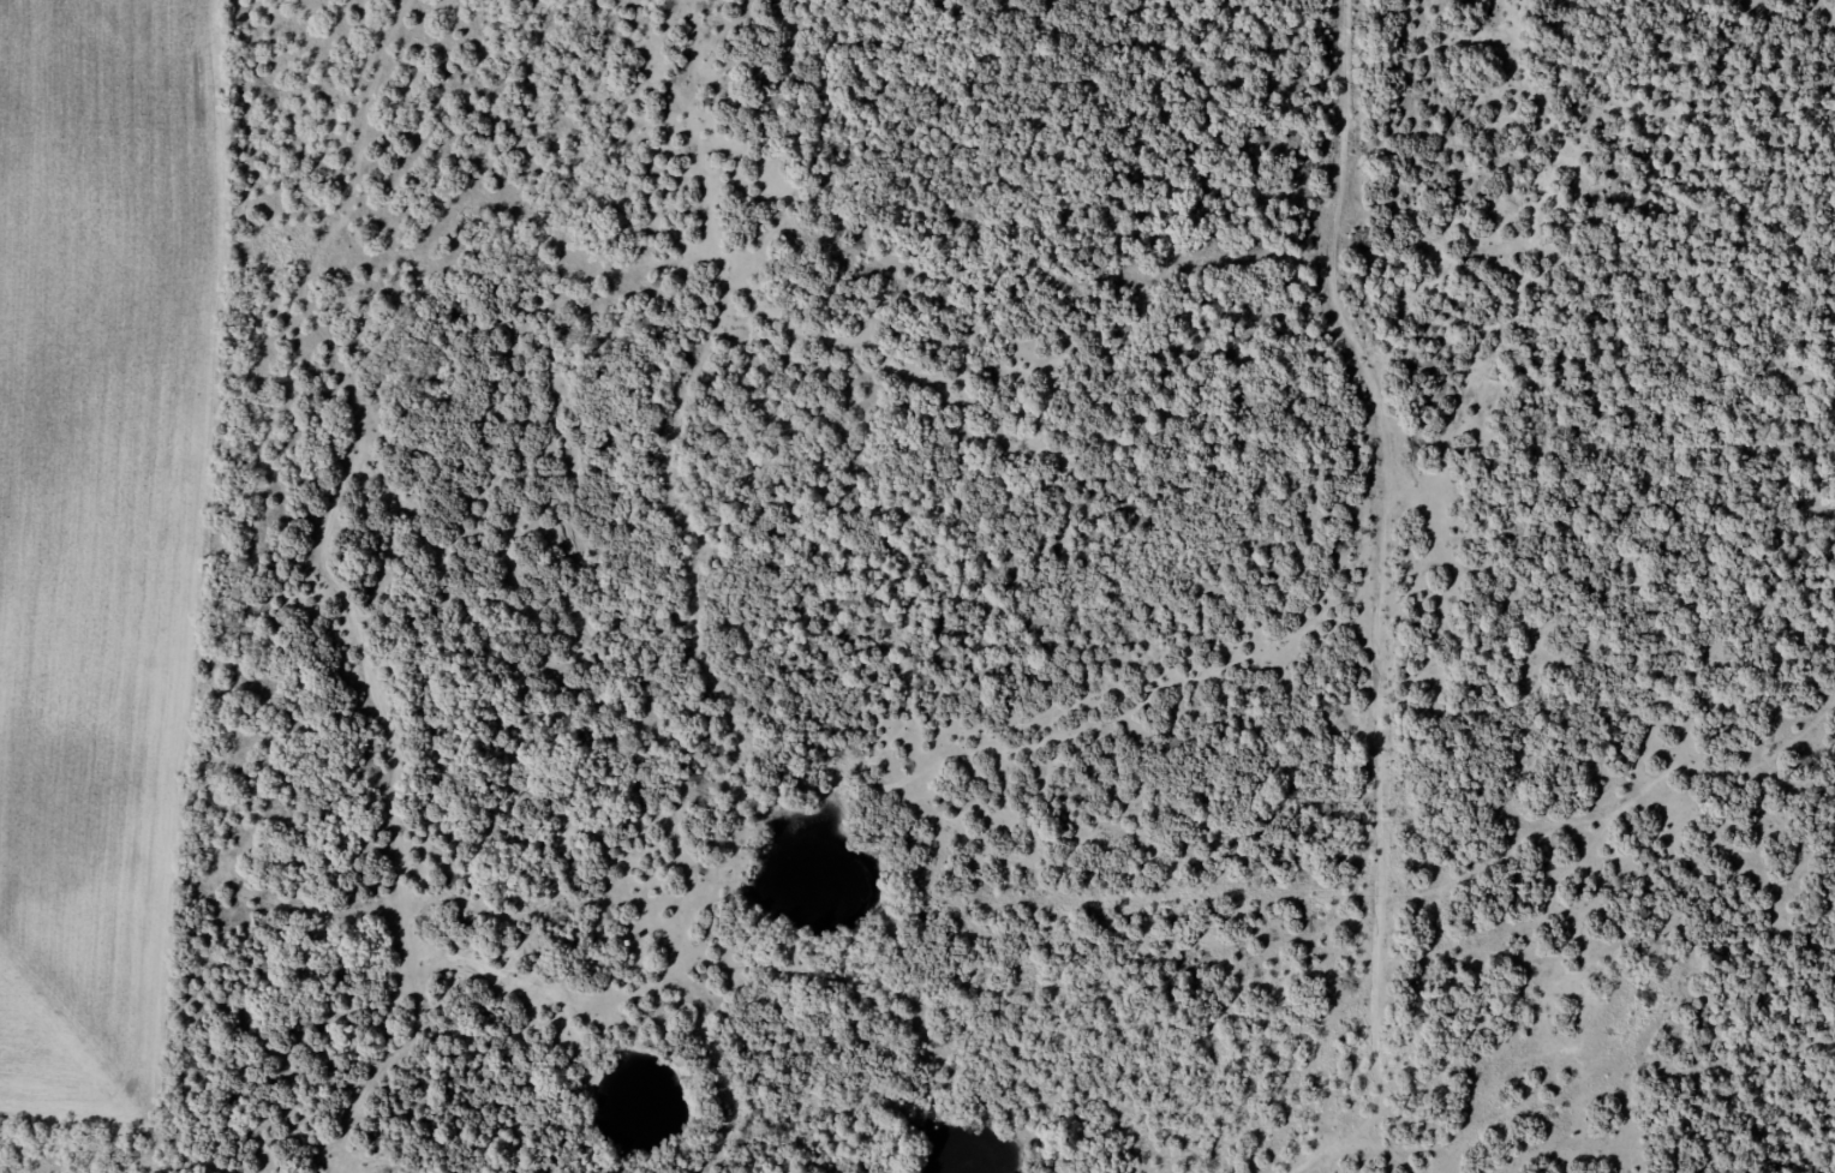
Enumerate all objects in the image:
road: (1622, 935)
road: (830, 1023)

